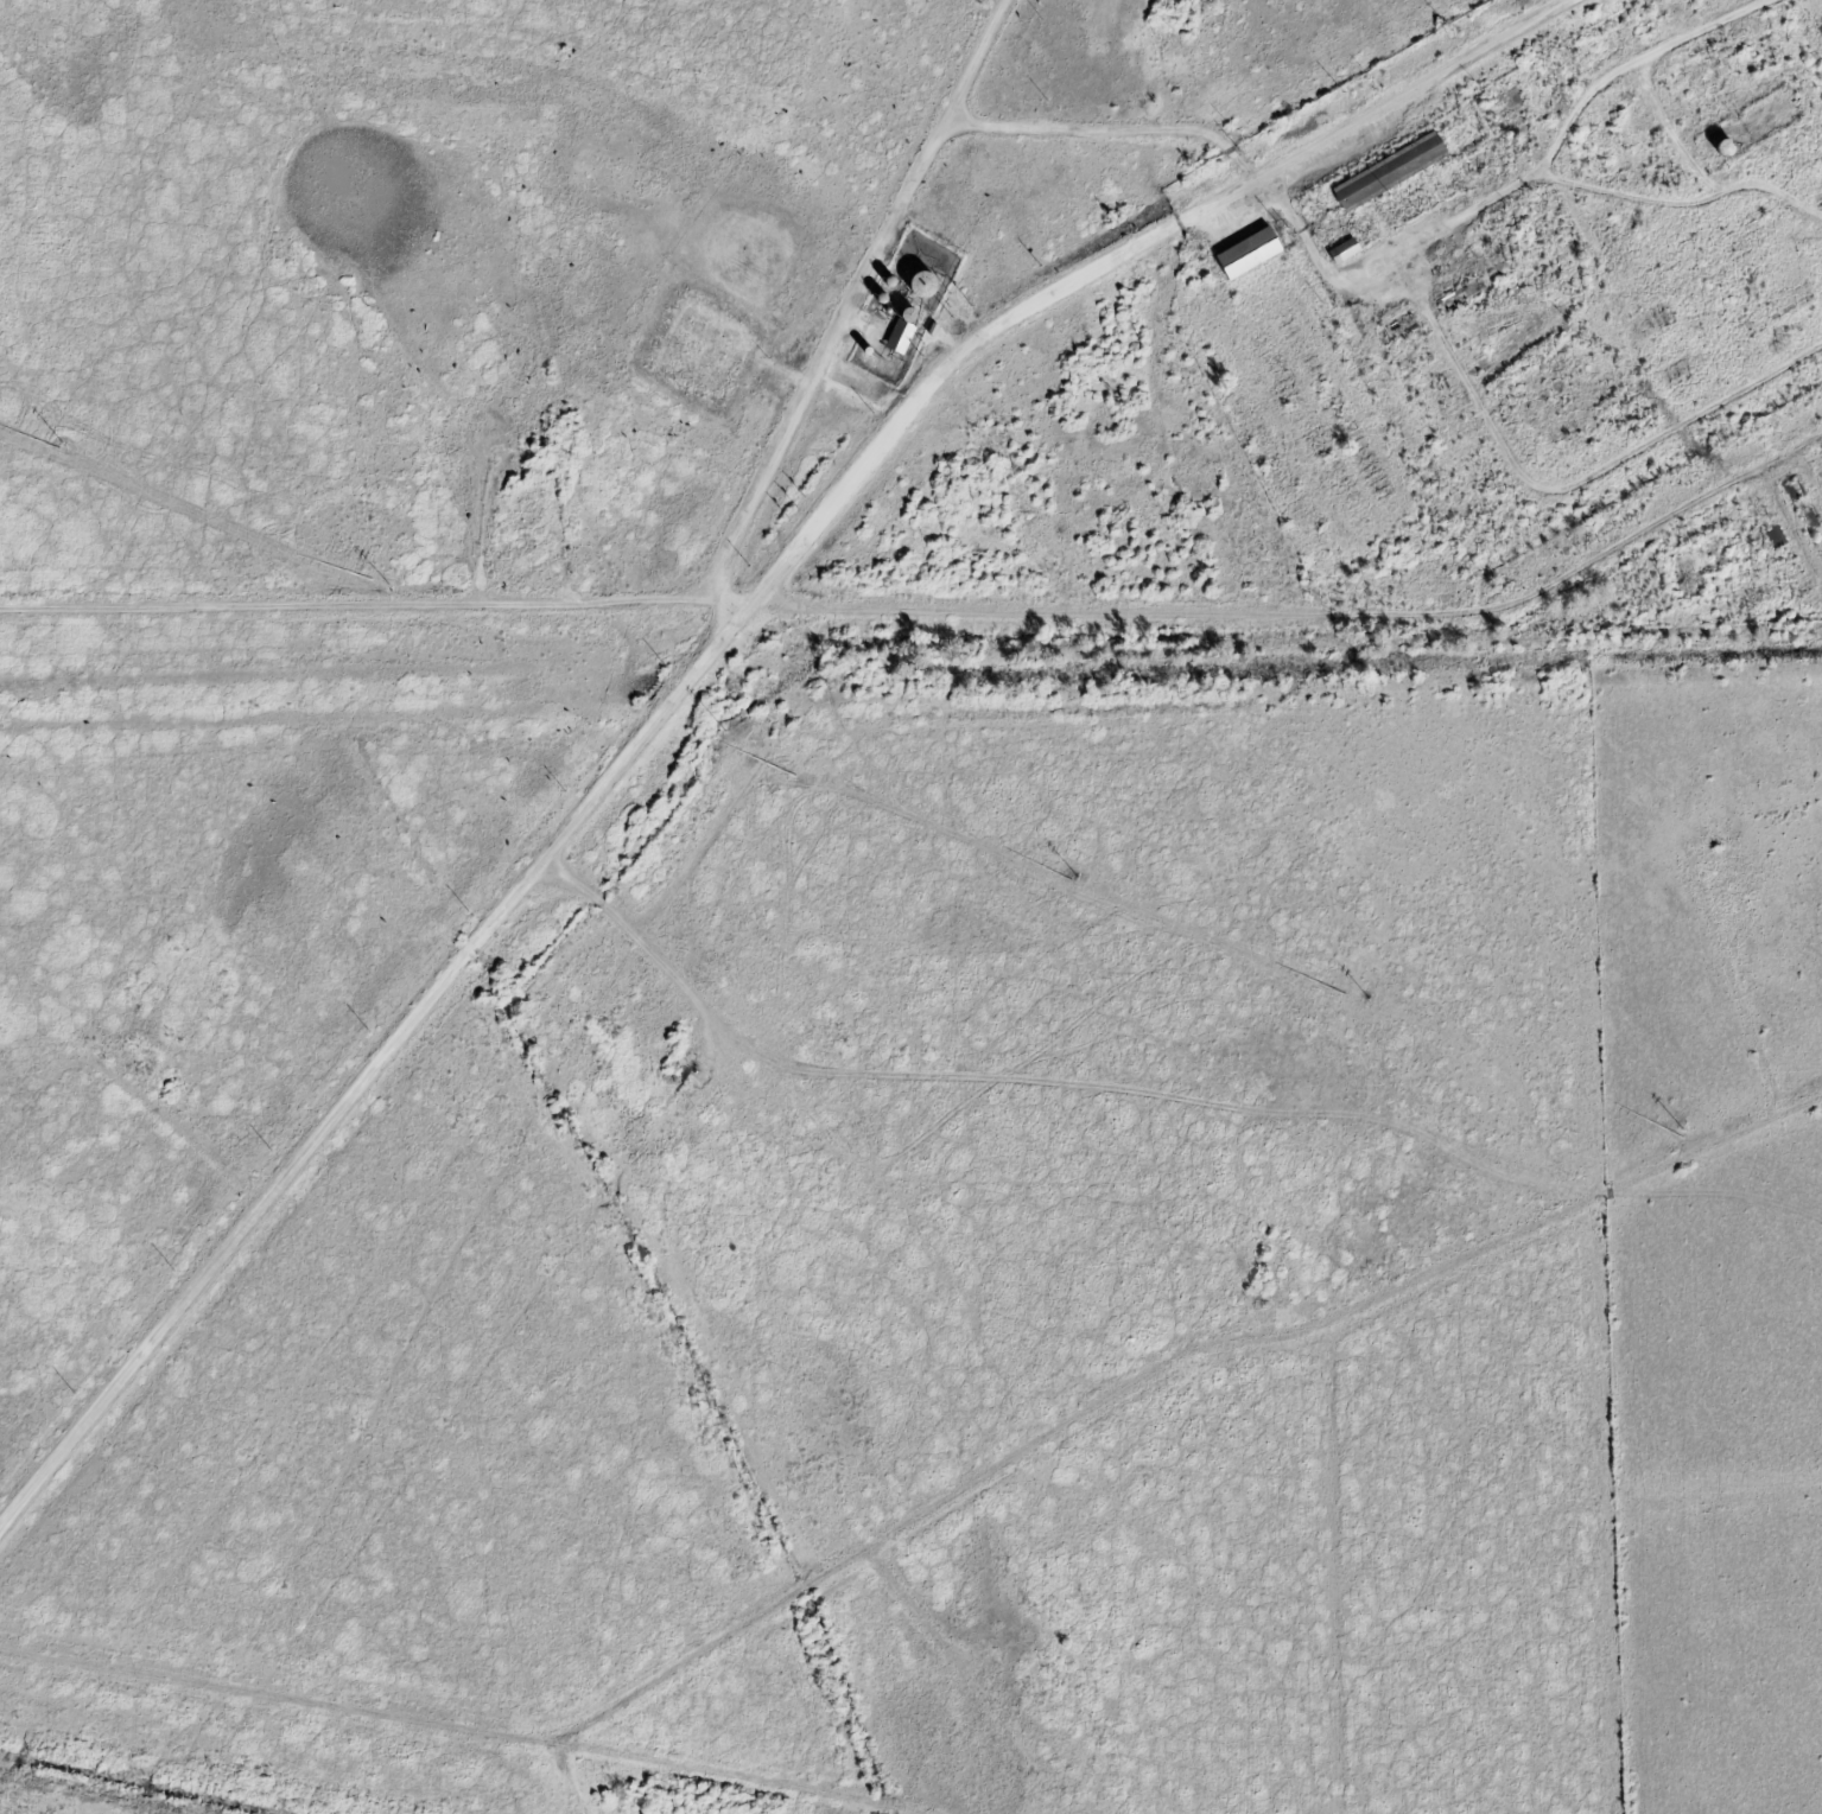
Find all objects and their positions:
road: (1112, 132)
building: (1248, 253)
road: (858, 300)
building: (903, 330)
road: (1158, 439)
road: (1810, 471)
road: (1790, 523)
road: (933, 606)
road: (700, 667)
road: (665, 963)
road: (1738, 991)
road: (186, 1126)
road: (1164, 1362)
road: (920, 1610)
road: (464, 1725)
road: (567, 1775)

